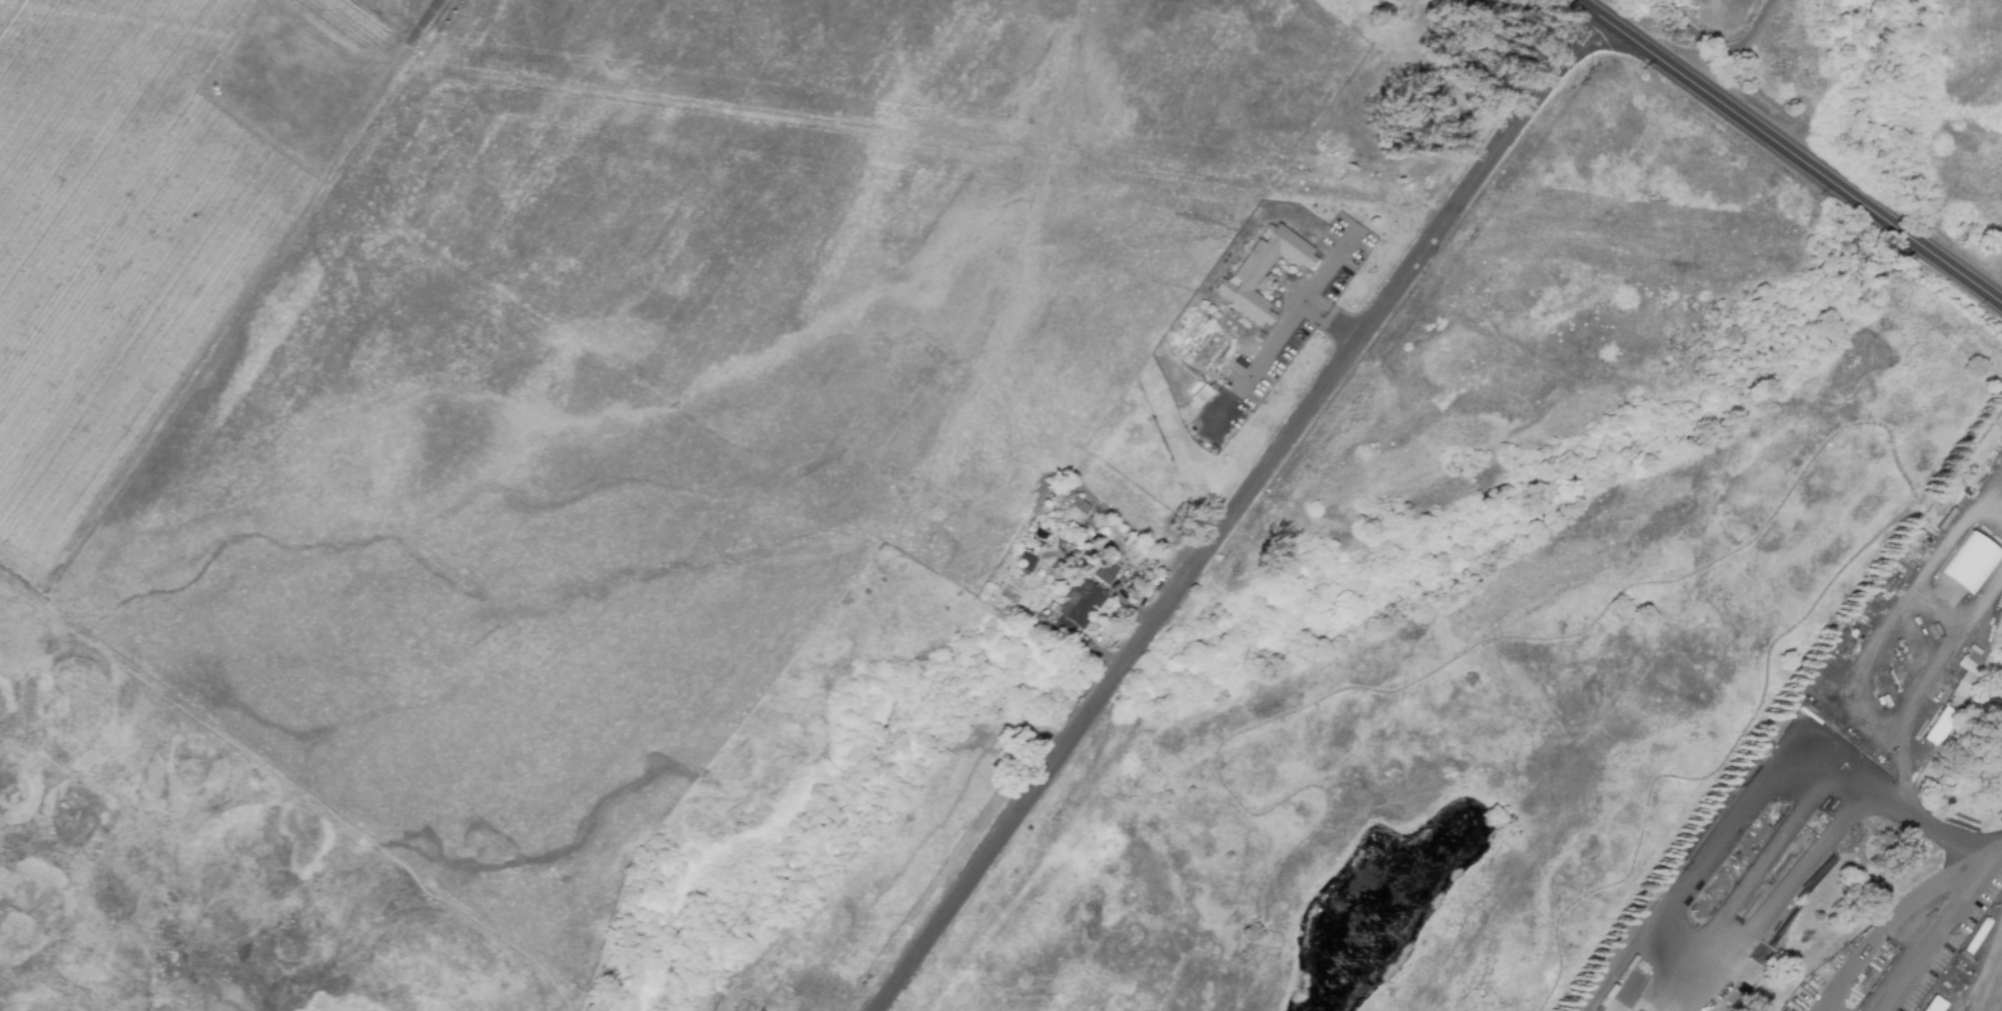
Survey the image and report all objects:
road: (429, 19)
road: (1721, 46)
park: (1877, 91)
road: (1790, 149)
park: (1322, 240)
road: (1334, 263)
building: (1261, 271)
park: (1563, 339)
road: (1273, 346)
road: (1234, 511)
building: (1968, 562)
building: (1025, 564)
road: (1698, 568)
building: (1104, 572)
building: (1080, 603)
road: (1932, 689)
building: (1960, 689)
building: (1938, 725)
park: (1508, 727)
road: (1933, 824)
road: (1761, 866)
road: (1888, 926)
road: (1939, 933)
road: (1668, 934)
road: (1983, 969)
building: (1618, 1002)
building: (1933, 1004)
building: (760, 1010)

